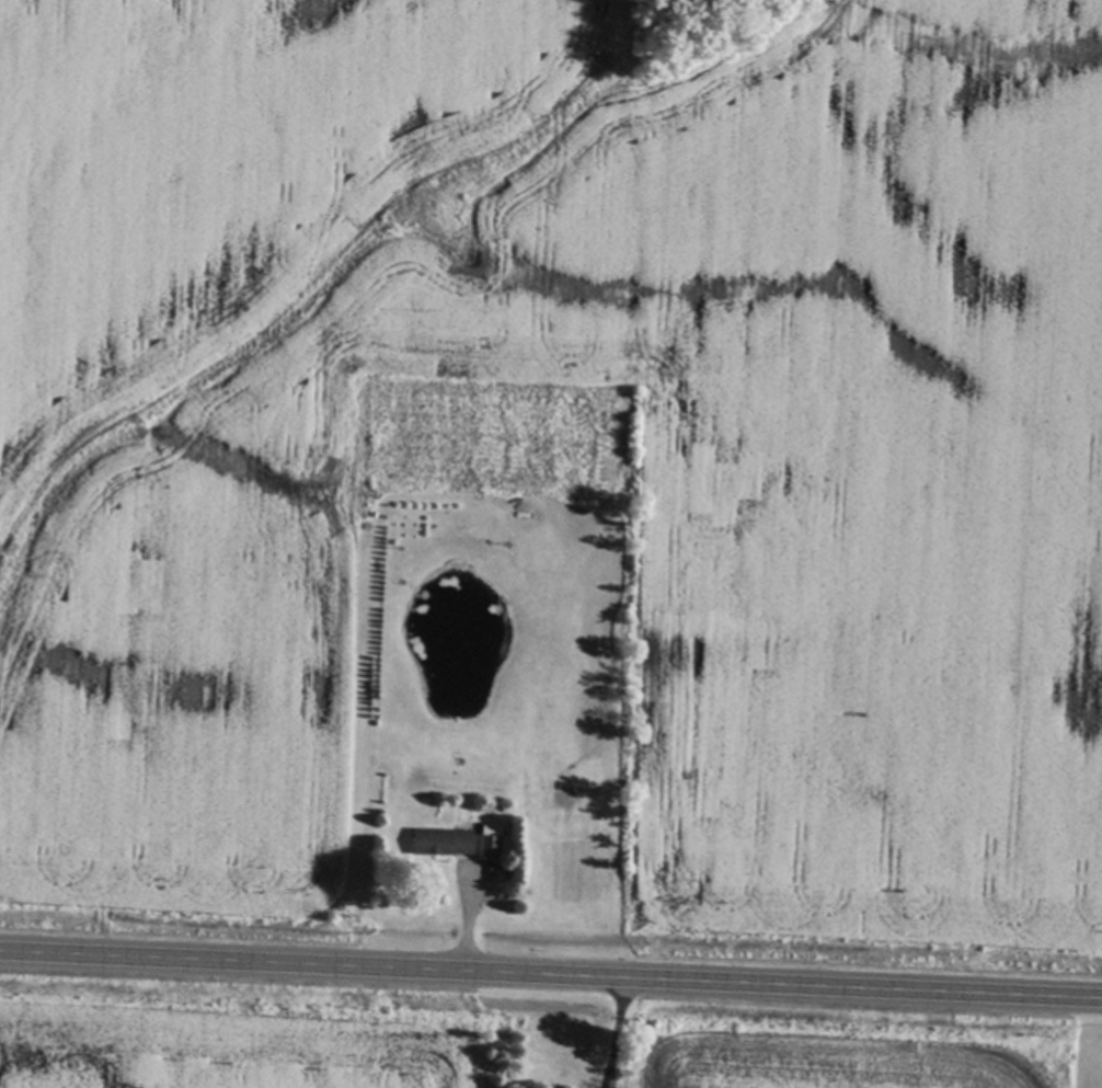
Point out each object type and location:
building: (561, 798)
building: (441, 845)
building: (491, 845)
road: (550, 977)

